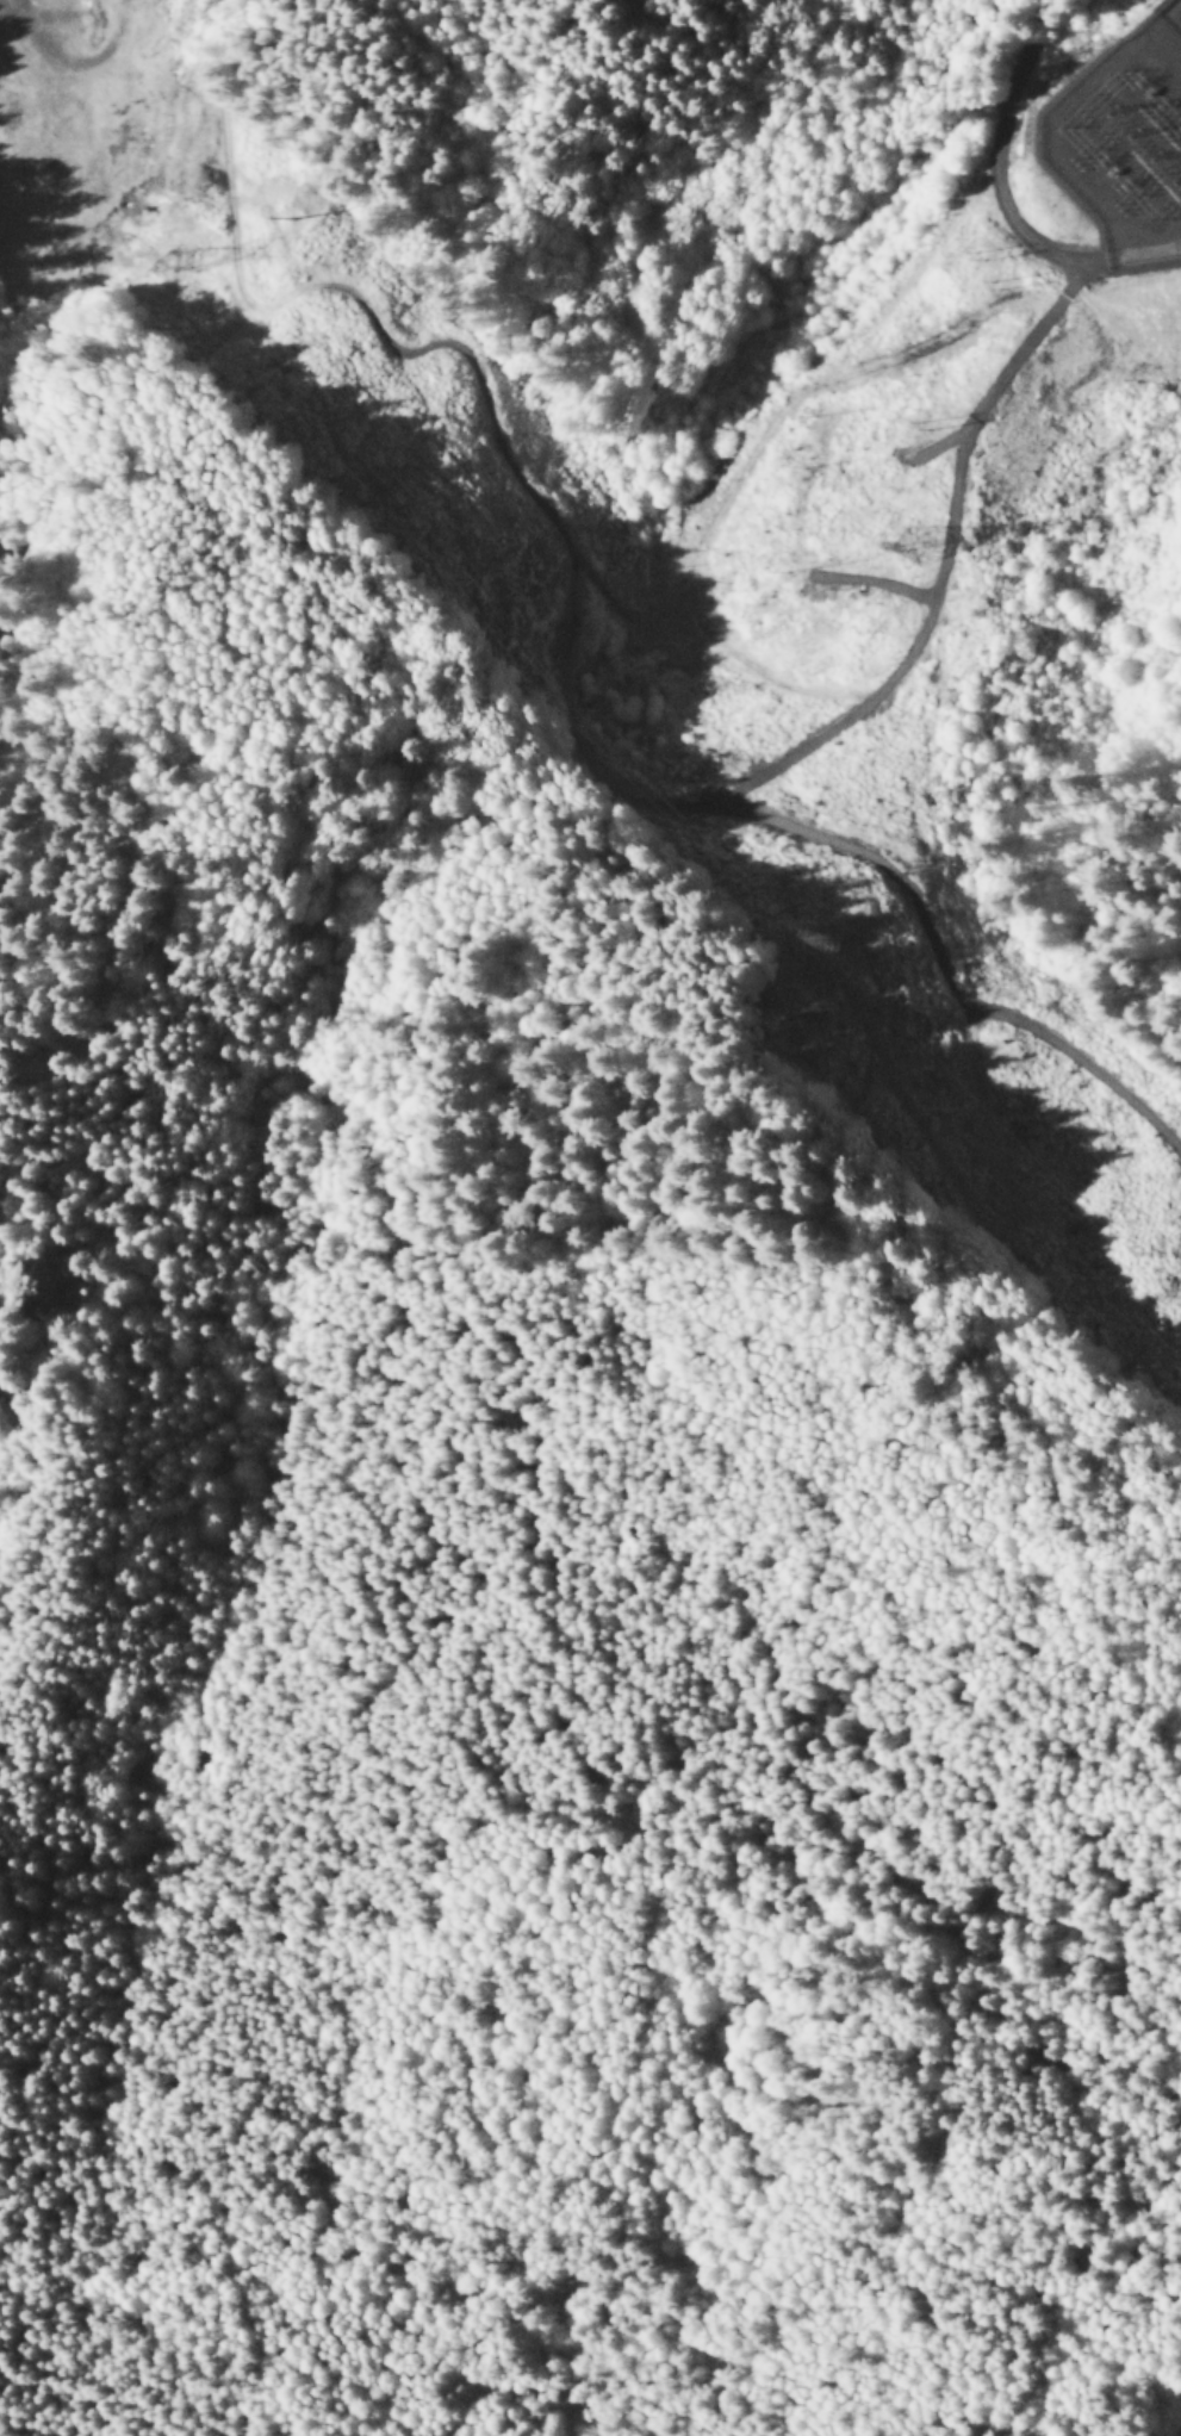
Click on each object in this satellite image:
power substation: (1125, 142)
power tower: (302, 222)
power tower: (184, 259)
power tower: (915, 552)
power tower: (915, 865)
power tower: (839, 945)
power tower: (822, 1015)

